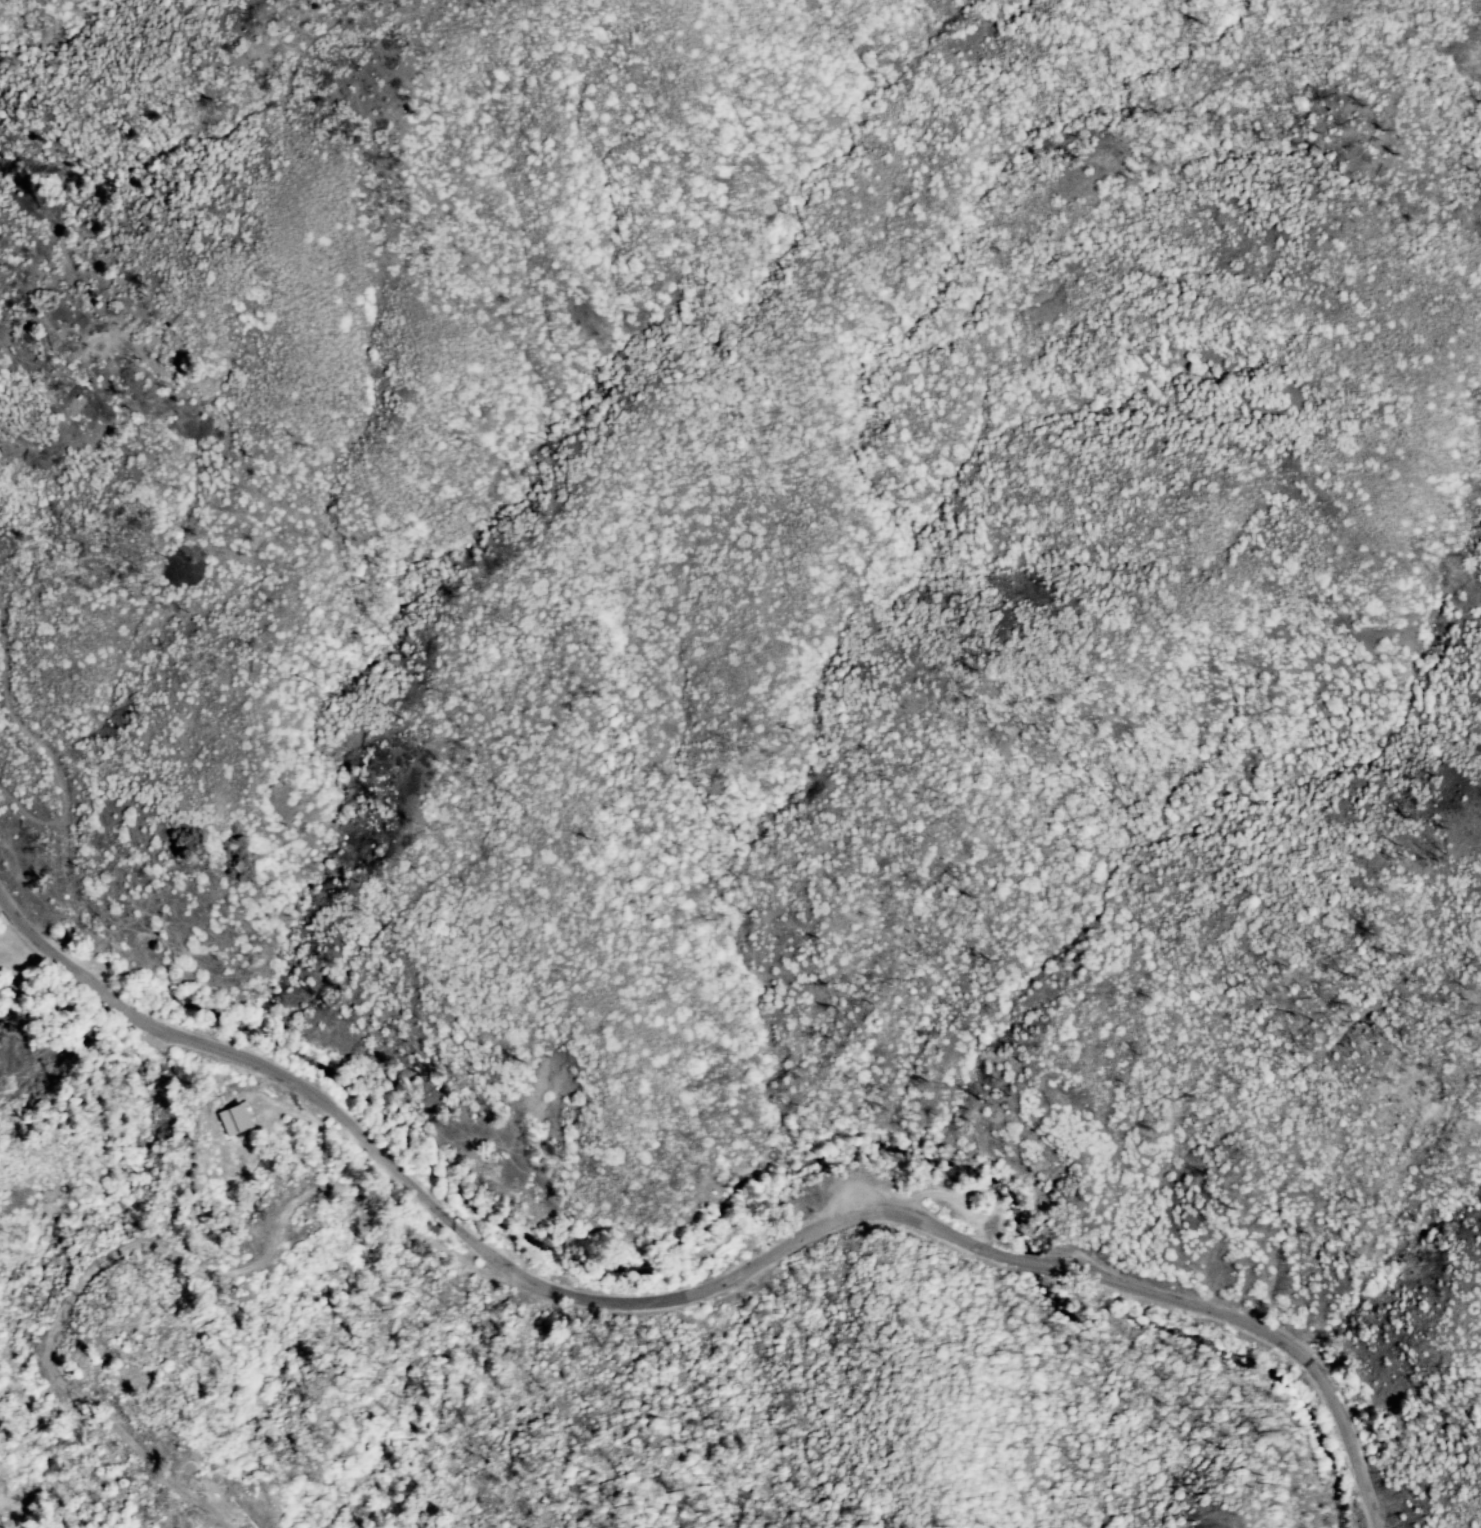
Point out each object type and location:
road: (472, 1239)
road: (92, 1261)
road: (1049, 1268)
road: (1276, 1345)

